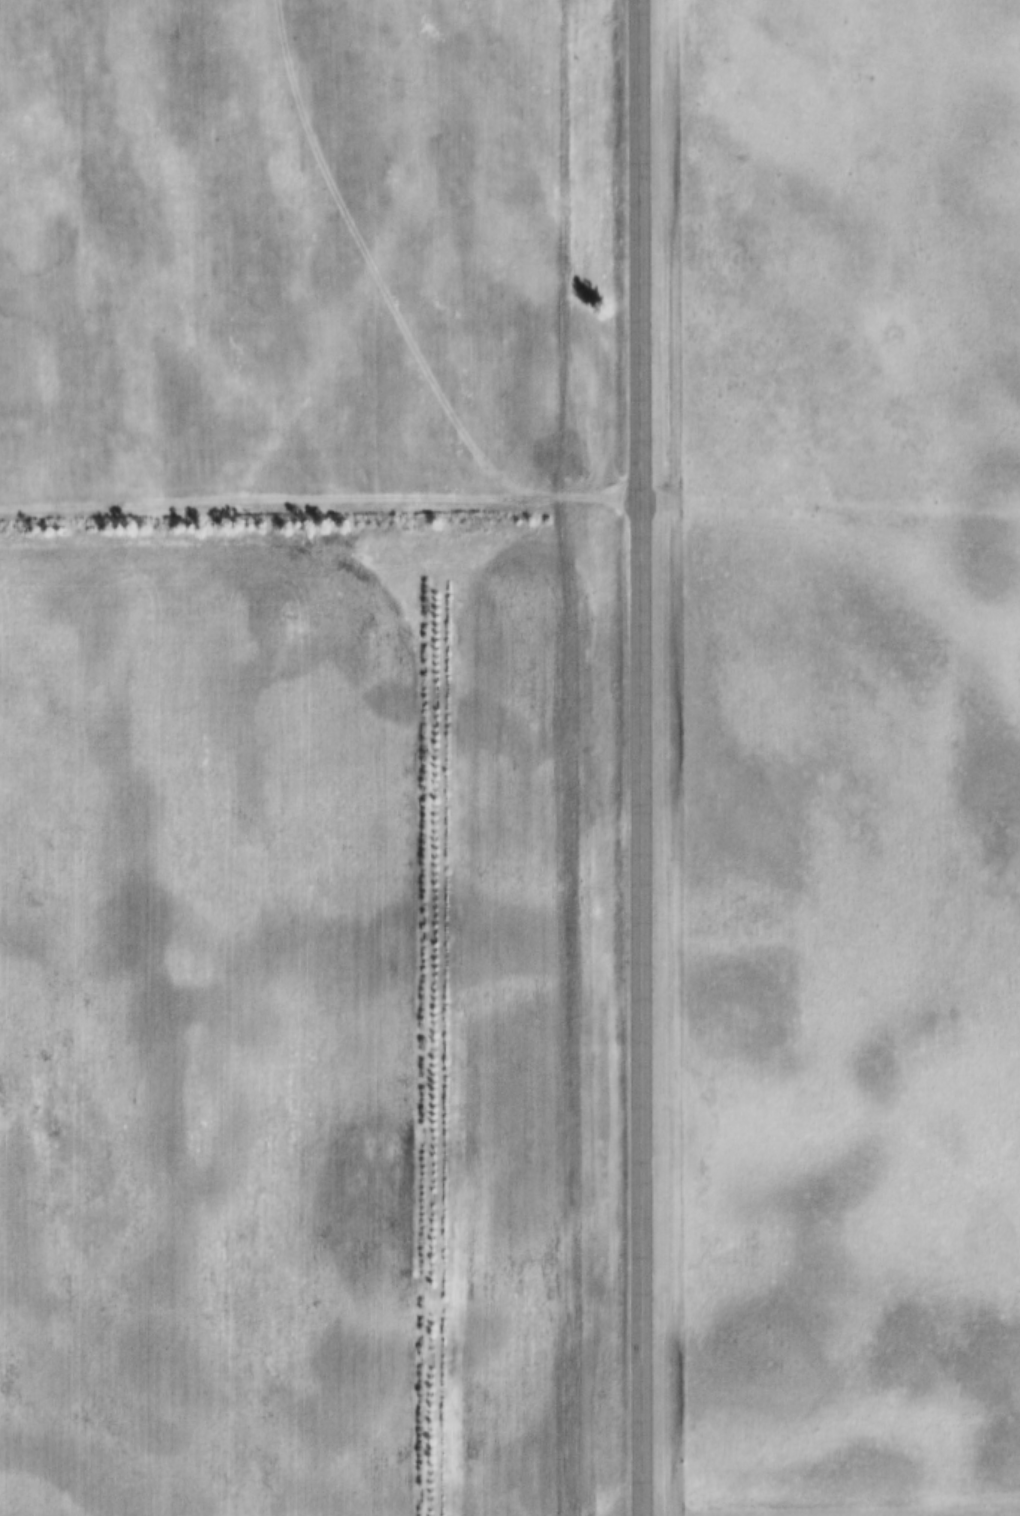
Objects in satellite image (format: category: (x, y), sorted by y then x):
road: (639, 758)

